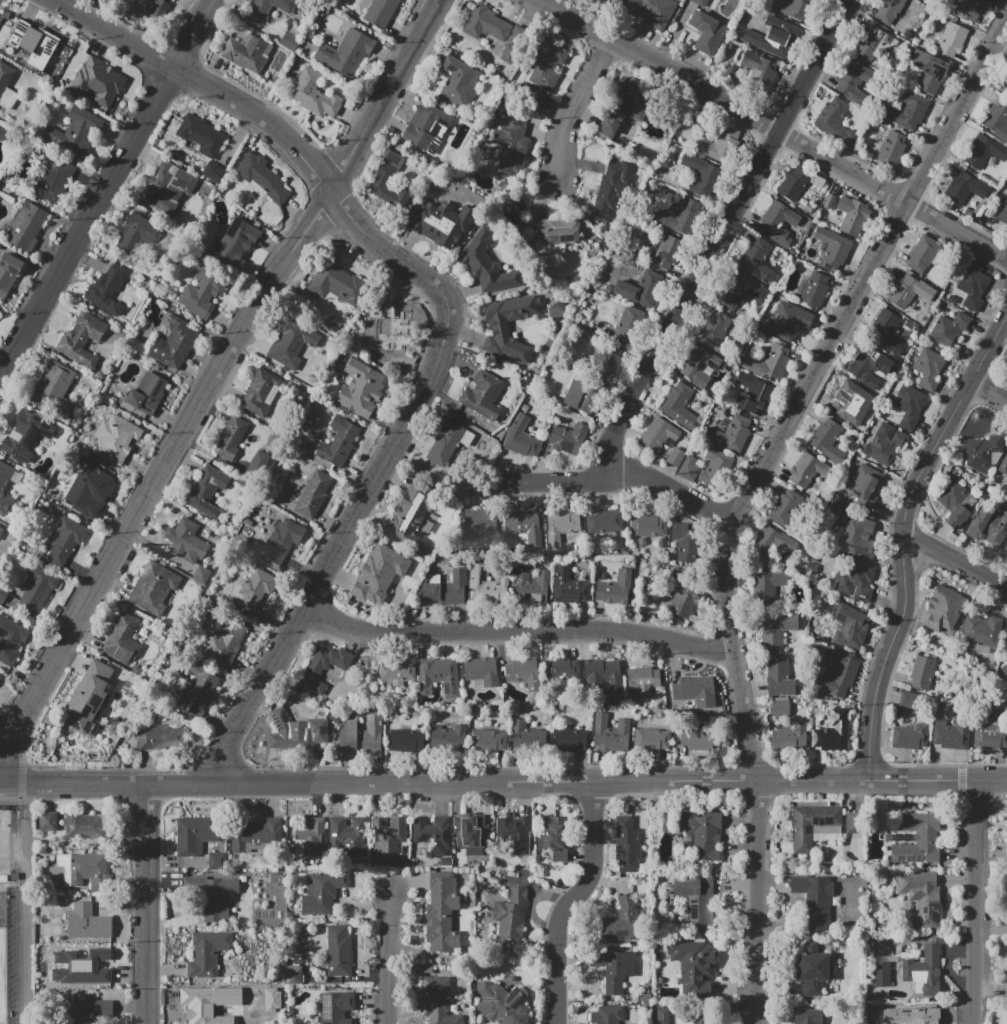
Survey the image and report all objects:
building: (613, 0)
building: (699, 2)
building: (158, 4)
building: (383, 8)
building: (797, 8)
building: (267, 9)
building: (963, 9)
building: (891, 10)
building: (652, 12)
building: (495, 32)
building: (707, 32)
building: (774, 37)
building: (952, 39)
building: (33, 42)
building: (289, 42)
building: (871, 44)
building: (245, 53)
building: (346, 53)
building: (547, 64)
building: (760, 71)
building: (927, 71)
building: (5, 77)
building: (98, 81)
road: (203, 82)
building: (459, 82)
building: (854, 82)
building: (1005, 86)
building: (314, 94)
building: (531, 95)
building: (626, 105)
road: (574, 107)
building: (907, 111)
building: (997, 120)
building: (834, 121)
road: (772, 128)
building: (427, 129)
building: (3, 134)
building: (73, 134)
building: (201, 135)
building: (723, 144)
building: (510, 148)
building: (892, 148)
building: (984, 150)
building: (215, 173)
building: (702, 175)
building: (262, 177)
building: (389, 179)
building: (54, 180)
building: (793, 183)
building: (169, 188)
building: (614, 188)
building: (965, 188)
road: (106, 190)
building: (1003, 212)
building: (681, 218)
building: (854, 218)
building: (441, 222)
building: (779, 223)
building: (27, 225)
building: (136, 233)
road: (719, 237)
building: (554, 240)
building: (233, 243)
building: (833, 248)
building: (666, 252)
building: (923, 253)
road: (393, 257)
building: (757, 260)
building: (487, 264)
building: (8, 272)
building: (338, 283)
building: (973, 287)
building: (106, 288)
building: (640, 289)
building: (813, 289)
building: (203, 291)
building: (741, 291)
building: (903, 291)
building: (788, 321)
building: (629, 325)
building: (884, 326)
building: (393, 328)
building: (715, 328)
building: (500, 329)
building: (949, 329)
building: (82, 339)
building: (291, 342)
building: (173, 343)
building: (609, 359)
building: (768, 362)
building: (699, 366)
building: (869, 368)
building: (929, 368)
road: (209, 386)
building: (54, 389)
building: (361, 389)
building: (262, 390)
road: (989, 390)
building: (147, 393)
building: (753, 393)
building: (484, 395)
building: (580, 395)
building: (846, 400)
building: (909, 405)
building: (681, 407)
building: (26, 432)
building: (657, 434)
building: (330, 435)
building: (729, 435)
building: (231, 437)
building: (521, 438)
building: (113, 439)
building: (569, 439)
building: (827, 440)
building: (328, 441)
building: (448, 443)
building: (337, 444)
building: (884, 444)
building: (984, 453)
building: (675, 457)
building: (257, 463)
building: (1003, 465)
building: (688, 468)
building: (716, 468)
building: (807, 470)
building: (4, 480)
road: (615, 481)
building: (206, 485)
building: (866, 485)
building: (94, 493)
road: (748, 493)
building: (312, 494)
building: (956, 502)
building: (785, 508)
building: (412, 516)
building: (605, 521)
building: (476, 523)
building: (561, 525)
building: (648, 525)
building: (1, 527)
building: (527, 527)
building: (989, 527)
building: (856, 536)
road: (903, 536)
building: (65, 540)
building: (187, 541)
building: (684, 542)
building: (280, 543)
building: (771, 543)
building: (1005, 548)
road: (331, 551)
road: (954, 559)
building: (384, 571)
building: (853, 580)
building: (487, 586)
building: (569, 586)
building: (154, 587)
building: (538, 587)
building: (768, 587)
building: (615, 588)
building: (448, 589)
building: (36, 590)
building: (255, 590)
building: (3, 595)
building: (684, 600)
building: (944, 609)
building: (849, 627)
building: (777, 629)
road: (516, 631)
building: (980, 634)
building: (10, 639)
building: (122, 639)
building: (224, 641)
building: (324, 668)
building: (479, 668)
building: (396, 669)
building: (561, 669)
building: (1004, 669)
building: (839, 672)
building: (923, 672)
building: (524, 673)
building: (603, 676)
building: (779, 676)
building: (0, 677)
building: (439, 677)
building: (641, 682)
building: (198, 690)
building: (691, 691)
building: (88, 698)
building: (908, 700)
building: (780, 708)
building: (298, 729)
building: (988, 730)
building: (832, 732)
building: (528, 733)
building: (610, 733)
building: (953, 733)
building: (158, 736)
building: (361, 736)
building: (910, 736)
building: (448, 738)
building: (694, 738)
building: (788, 738)
building: (569, 739)
building: (487, 740)
building: (651, 740)
building: (406, 741)
road: (2, 781)
road: (75, 781)
road: (181, 781)
road: (611, 781)
building: (854, 823)
building: (73, 824)
building: (814, 826)
building: (198, 834)
building: (254, 834)
building: (350, 834)
building: (433, 835)
building: (700, 835)
building: (553, 836)
building: (467, 837)
building: (519, 837)
building: (389, 838)
building: (310, 839)
building: (917, 839)
building: (627, 843)
park: (3, 846)
road: (19, 851)
building: (85, 871)
road: (10, 885)
building: (323, 892)
building: (213, 895)
building: (814, 899)
building: (920, 899)
road: (570, 901)
building: (695, 901)
road: (147, 902)
road: (977, 902)
building: (442, 913)
building: (511, 914)
building: (621, 920)
building: (87, 922)
building: (338, 950)
building: (207, 953)
road: (393, 961)
building: (693, 964)
building: (811, 968)
building: (76, 969)
building: (924, 970)
building: (611, 972)
road: (21, 973)
building: (882, 974)
building: (294, 975)
park: (2, 977)
building: (271, 999)
building: (438, 1001)
building: (207, 1003)
building: (502, 1004)
building: (102, 1007)
building: (78, 1008)
building: (334, 1008)
building: (607, 1014)
building: (807, 1016)
building: (910, 1016)
building: (701, 1019)

